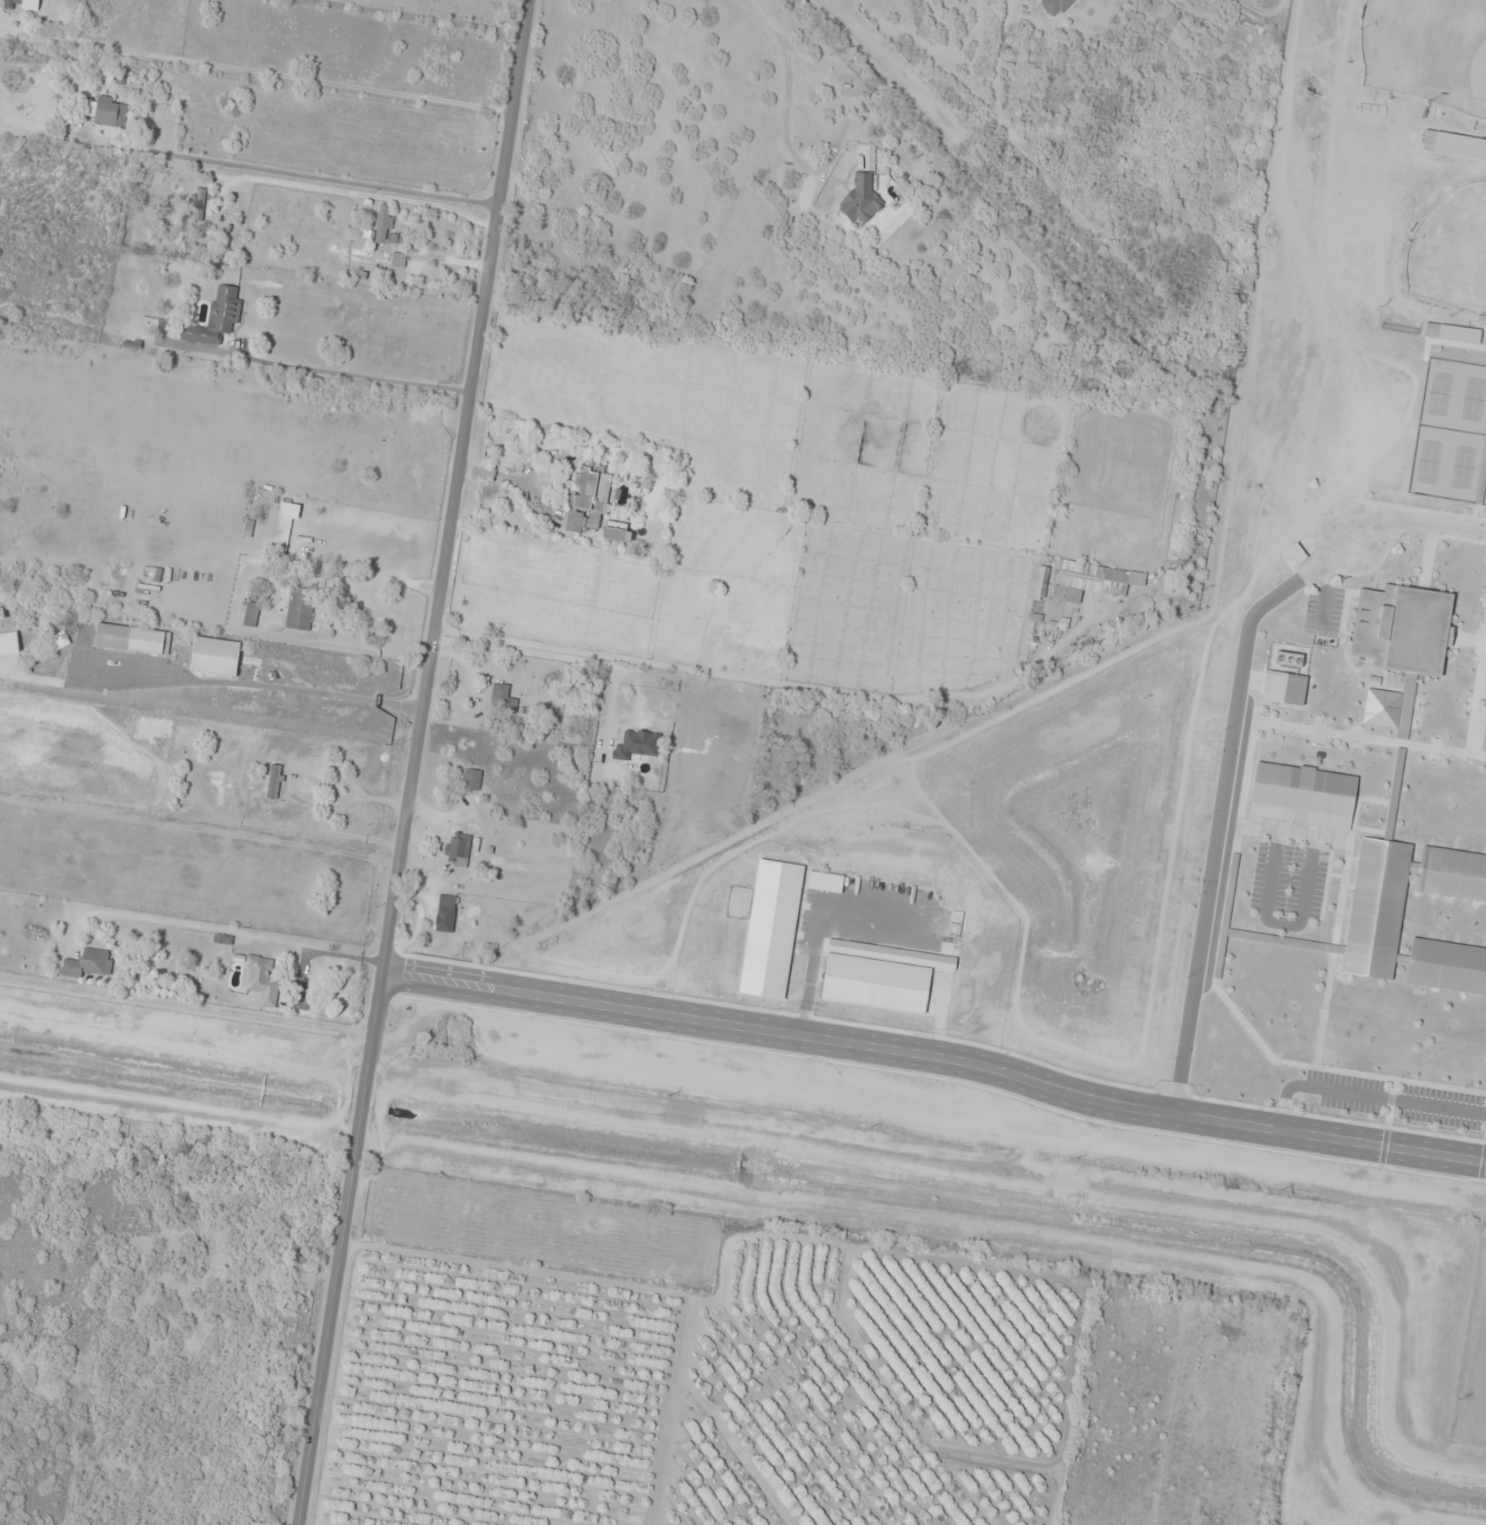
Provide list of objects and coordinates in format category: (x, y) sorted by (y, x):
building: (22, 5)
building: (1056, 7)
park: (1428, 50)
building: (106, 113)
building: (861, 198)
building: (200, 205)
building: (381, 225)
park: (1452, 252)
building: (398, 260)
building: (217, 318)
park: (1452, 435)
road: (517, 476)
building: (589, 492)
road: (537, 499)
building: (574, 522)
road: (1414, 522)
building: (286, 523)
building: (617, 532)
building: (1297, 554)
building: (1096, 578)
building: (300, 610)
building: (1, 614)
building: (132, 640)
building: (60, 641)
building: (9, 643)
building: (1400, 647)
building: (215, 657)
building: (1284, 689)
building: (502, 698)
building: (637, 744)
road: (411, 762)
building: (472, 780)
building: (1394, 794)
building: (1303, 796)
road: (1221, 806)
road: (1284, 831)
building: (459, 851)
building: (445, 914)
building: (1412, 919)
road: (1283, 925)
building: (88, 964)
building: (880, 976)
building: (260, 980)
road: (935, 1053)
road: (1365, 1096)

